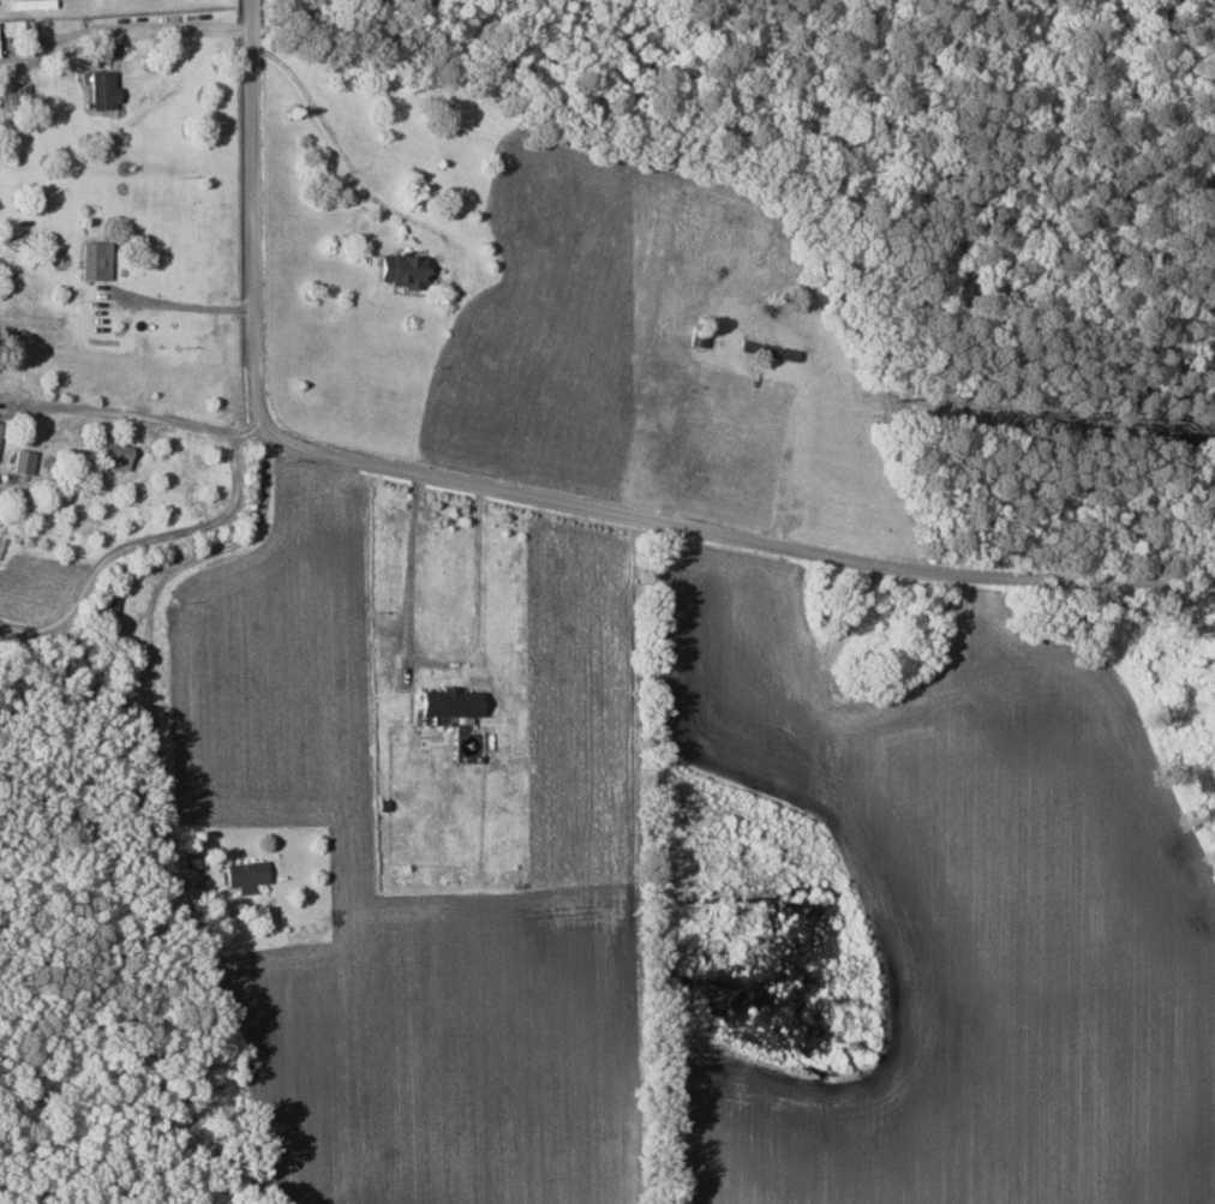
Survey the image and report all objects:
road: (127, 31)
building: (102, 91)
road: (347, 161)
building: (95, 260)
building: (400, 271)
road: (182, 306)
road: (136, 414)
building: (113, 455)
building: (23, 461)
road: (527, 491)
road: (151, 541)
road: (146, 616)
road: (433, 661)
building: (449, 701)
building: (245, 875)

